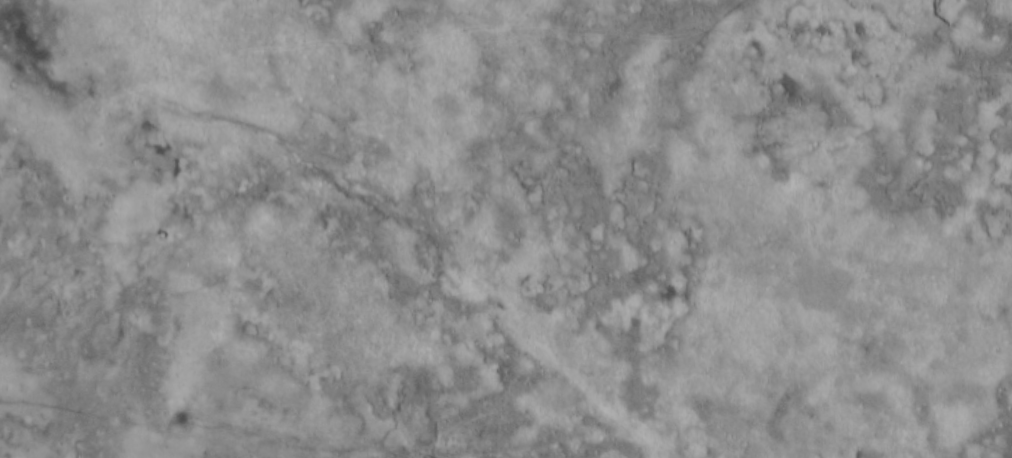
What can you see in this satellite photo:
road: (229, 414)

